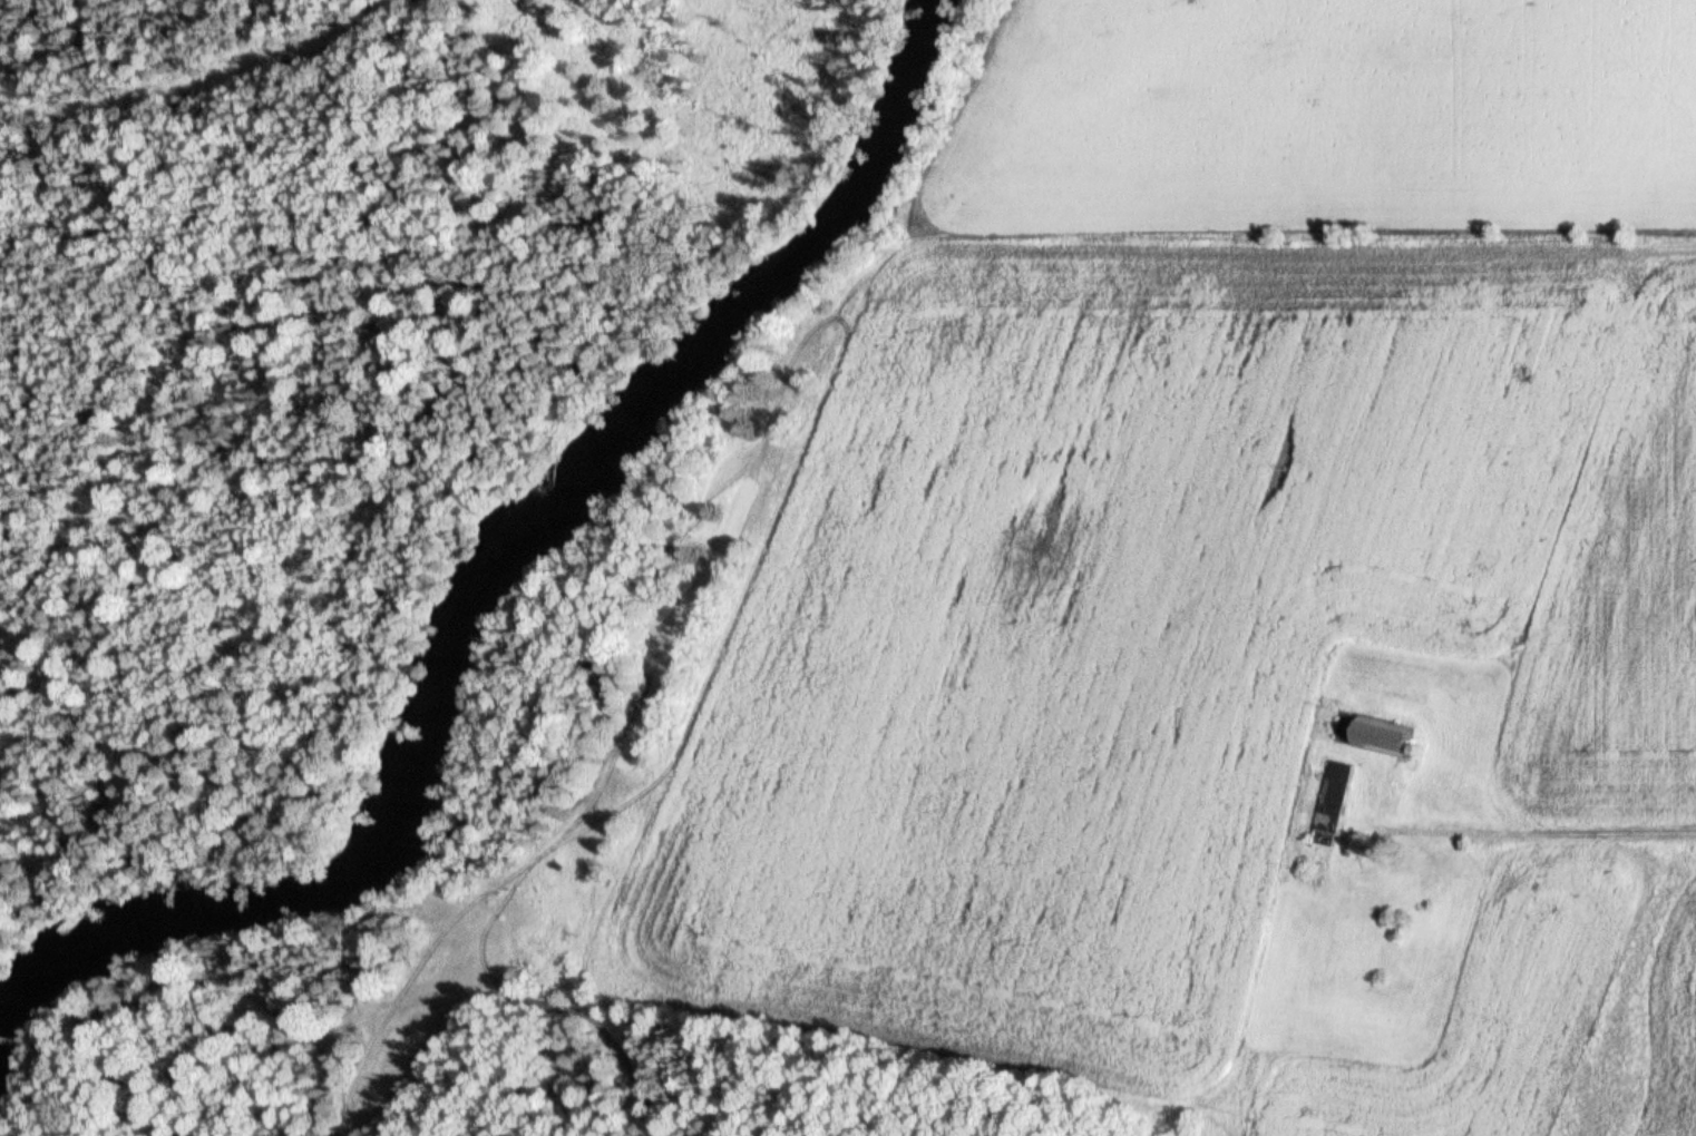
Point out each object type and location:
river: (485, 607)
building: (1376, 735)
building: (1331, 804)
road: (1540, 832)
road: (1538, 1017)

